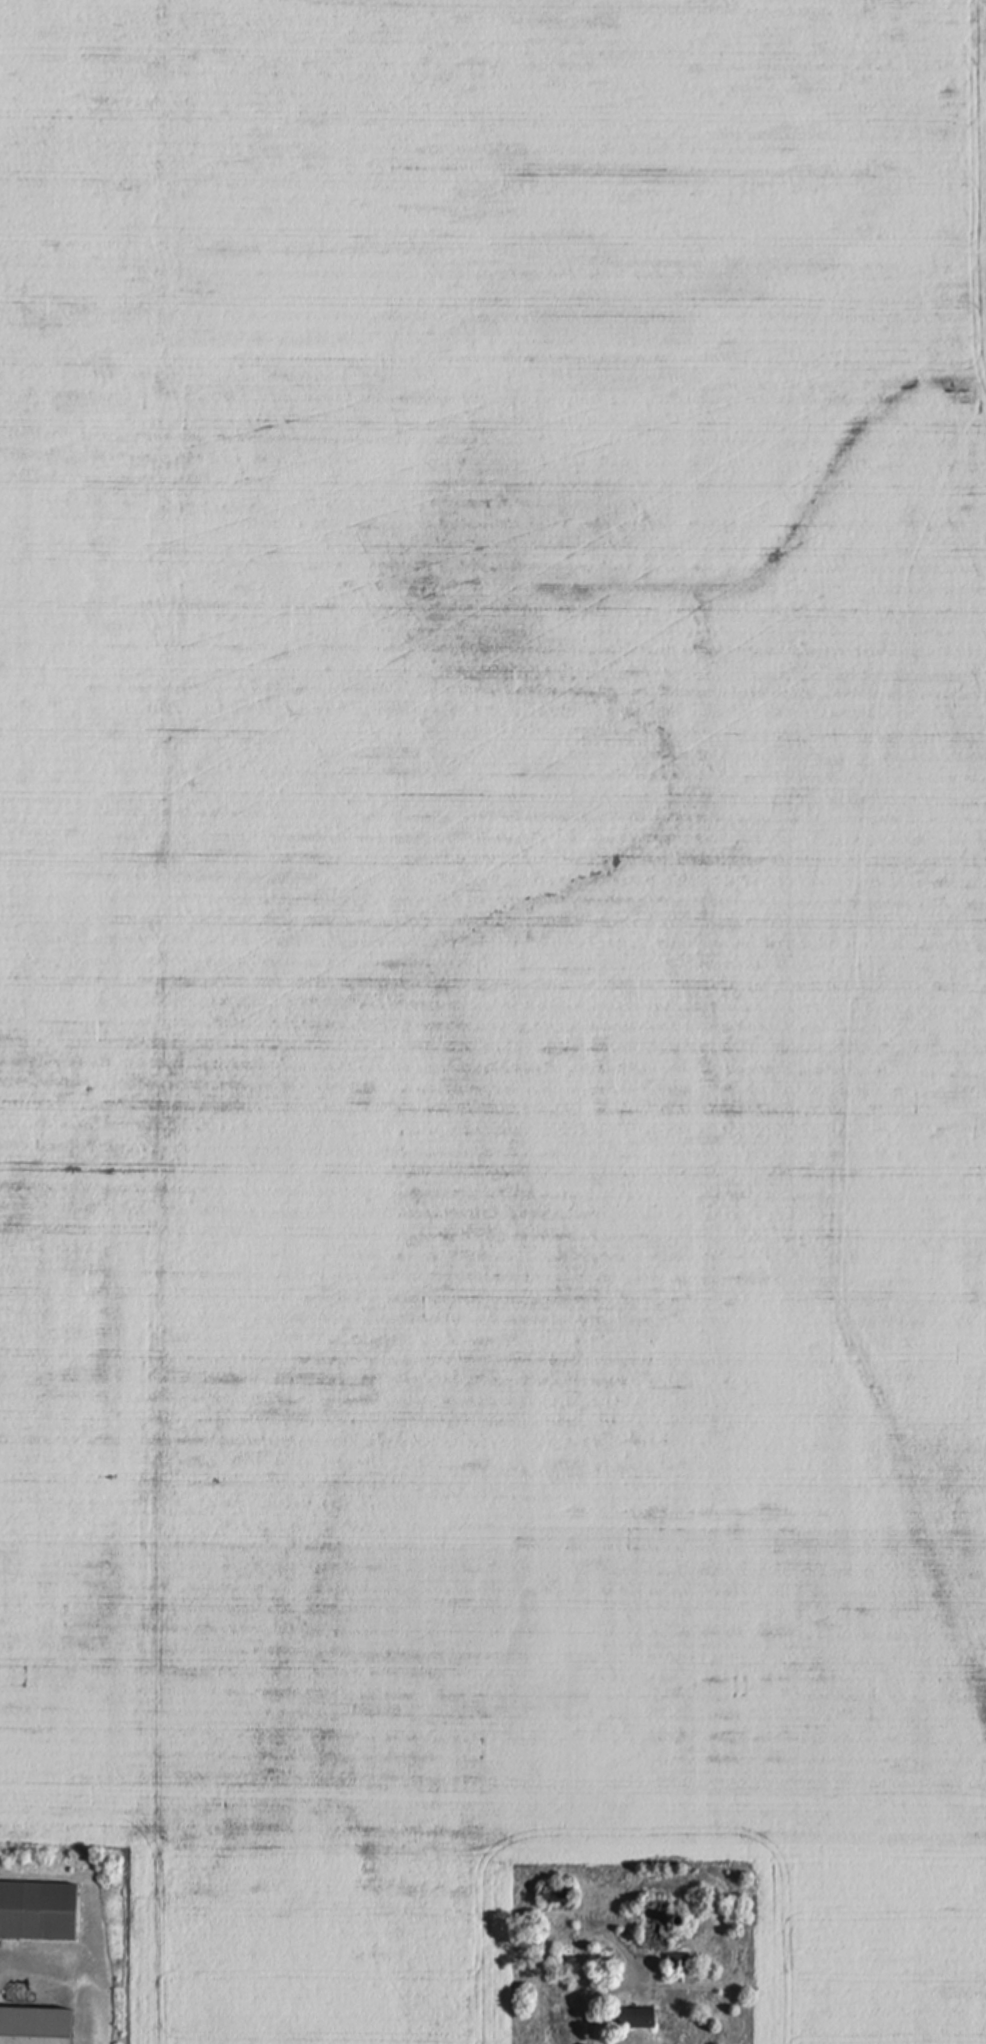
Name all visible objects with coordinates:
building: (560, 1894)
building: (39, 1912)
building: (659, 1926)
road: (610, 1938)
building: (637, 2019)
road: (592, 2026)
building: (37, 2027)

